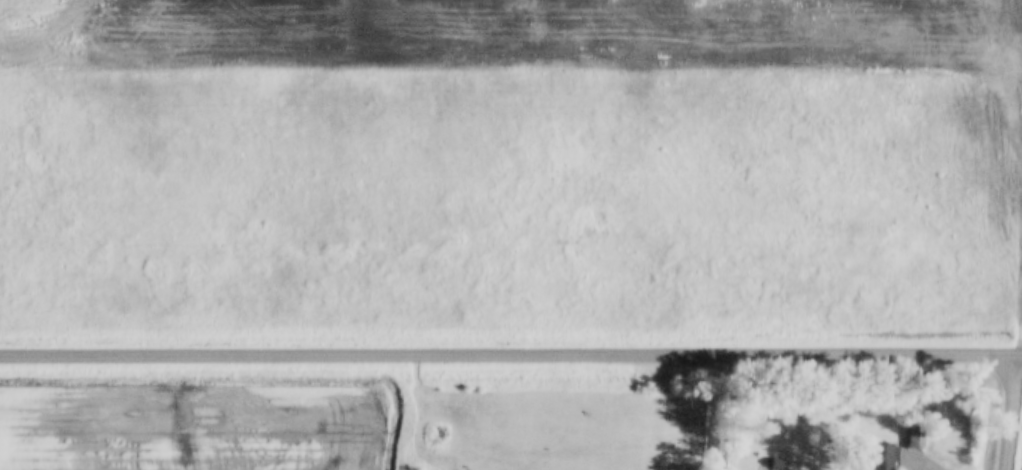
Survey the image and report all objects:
road: (510, 356)
road: (1013, 413)
building: (886, 455)

